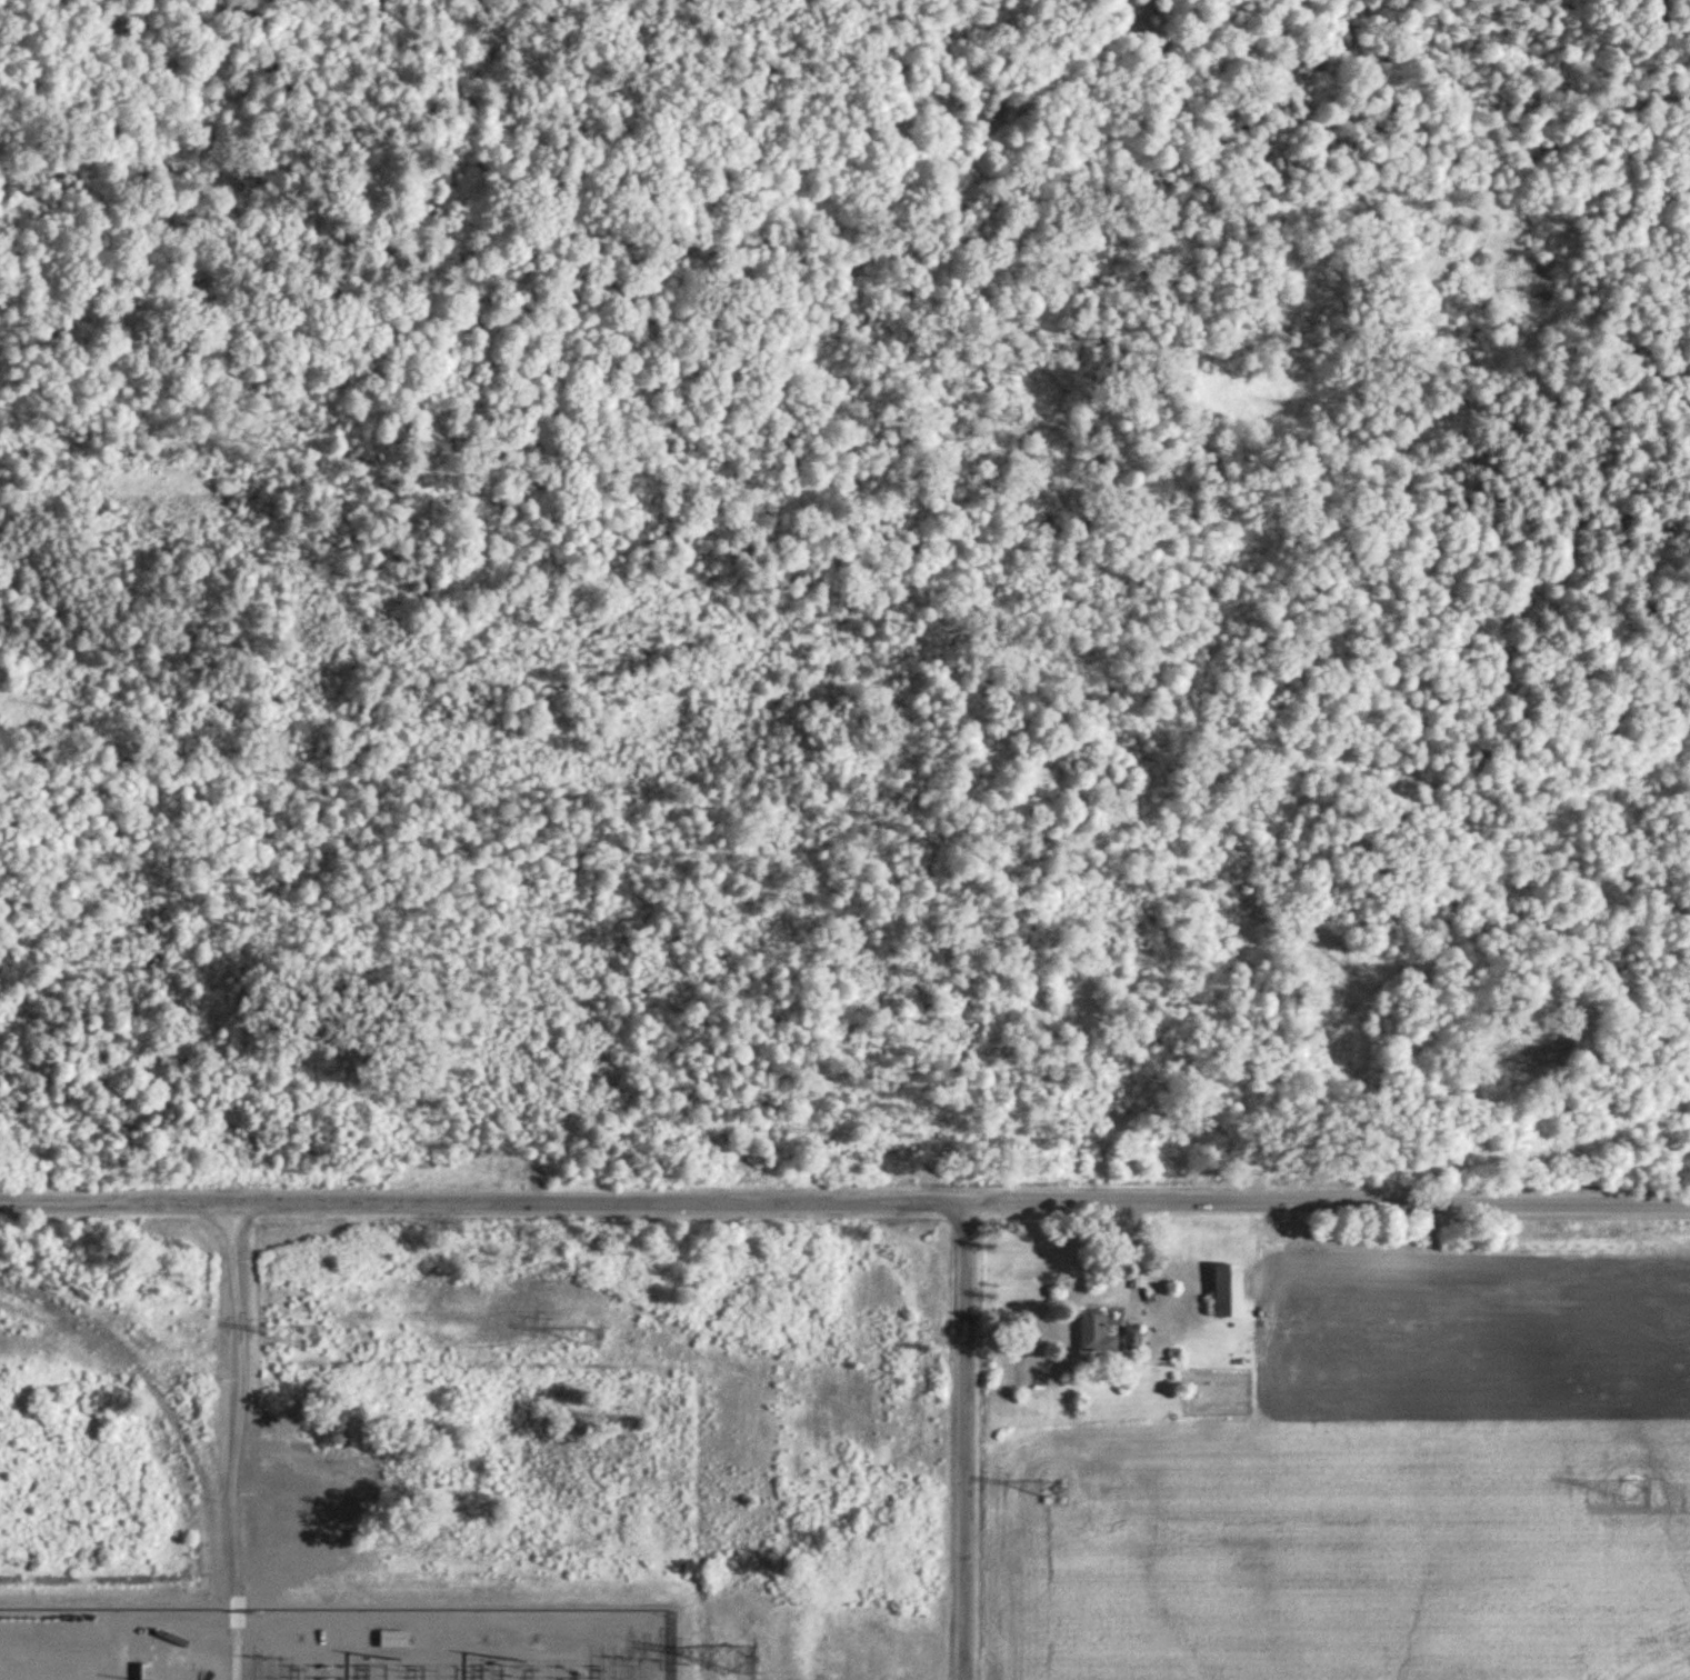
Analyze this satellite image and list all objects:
road: (482, 1202)
road: (1328, 1203)
building: (1226, 1292)
power tower: (307, 1334)
building: (1093, 1334)
building: (1132, 1339)
power tower: (598, 1341)
road: (237, 1406)
road: (966, 1441)
power tower: (1054, 1492)
building: (1633, 1492)
power tower: (1633, 1493)
building: (392, 1638)
road: (239, 1644)
power substation: (336, 1644)
power tower: (741, 1662)

